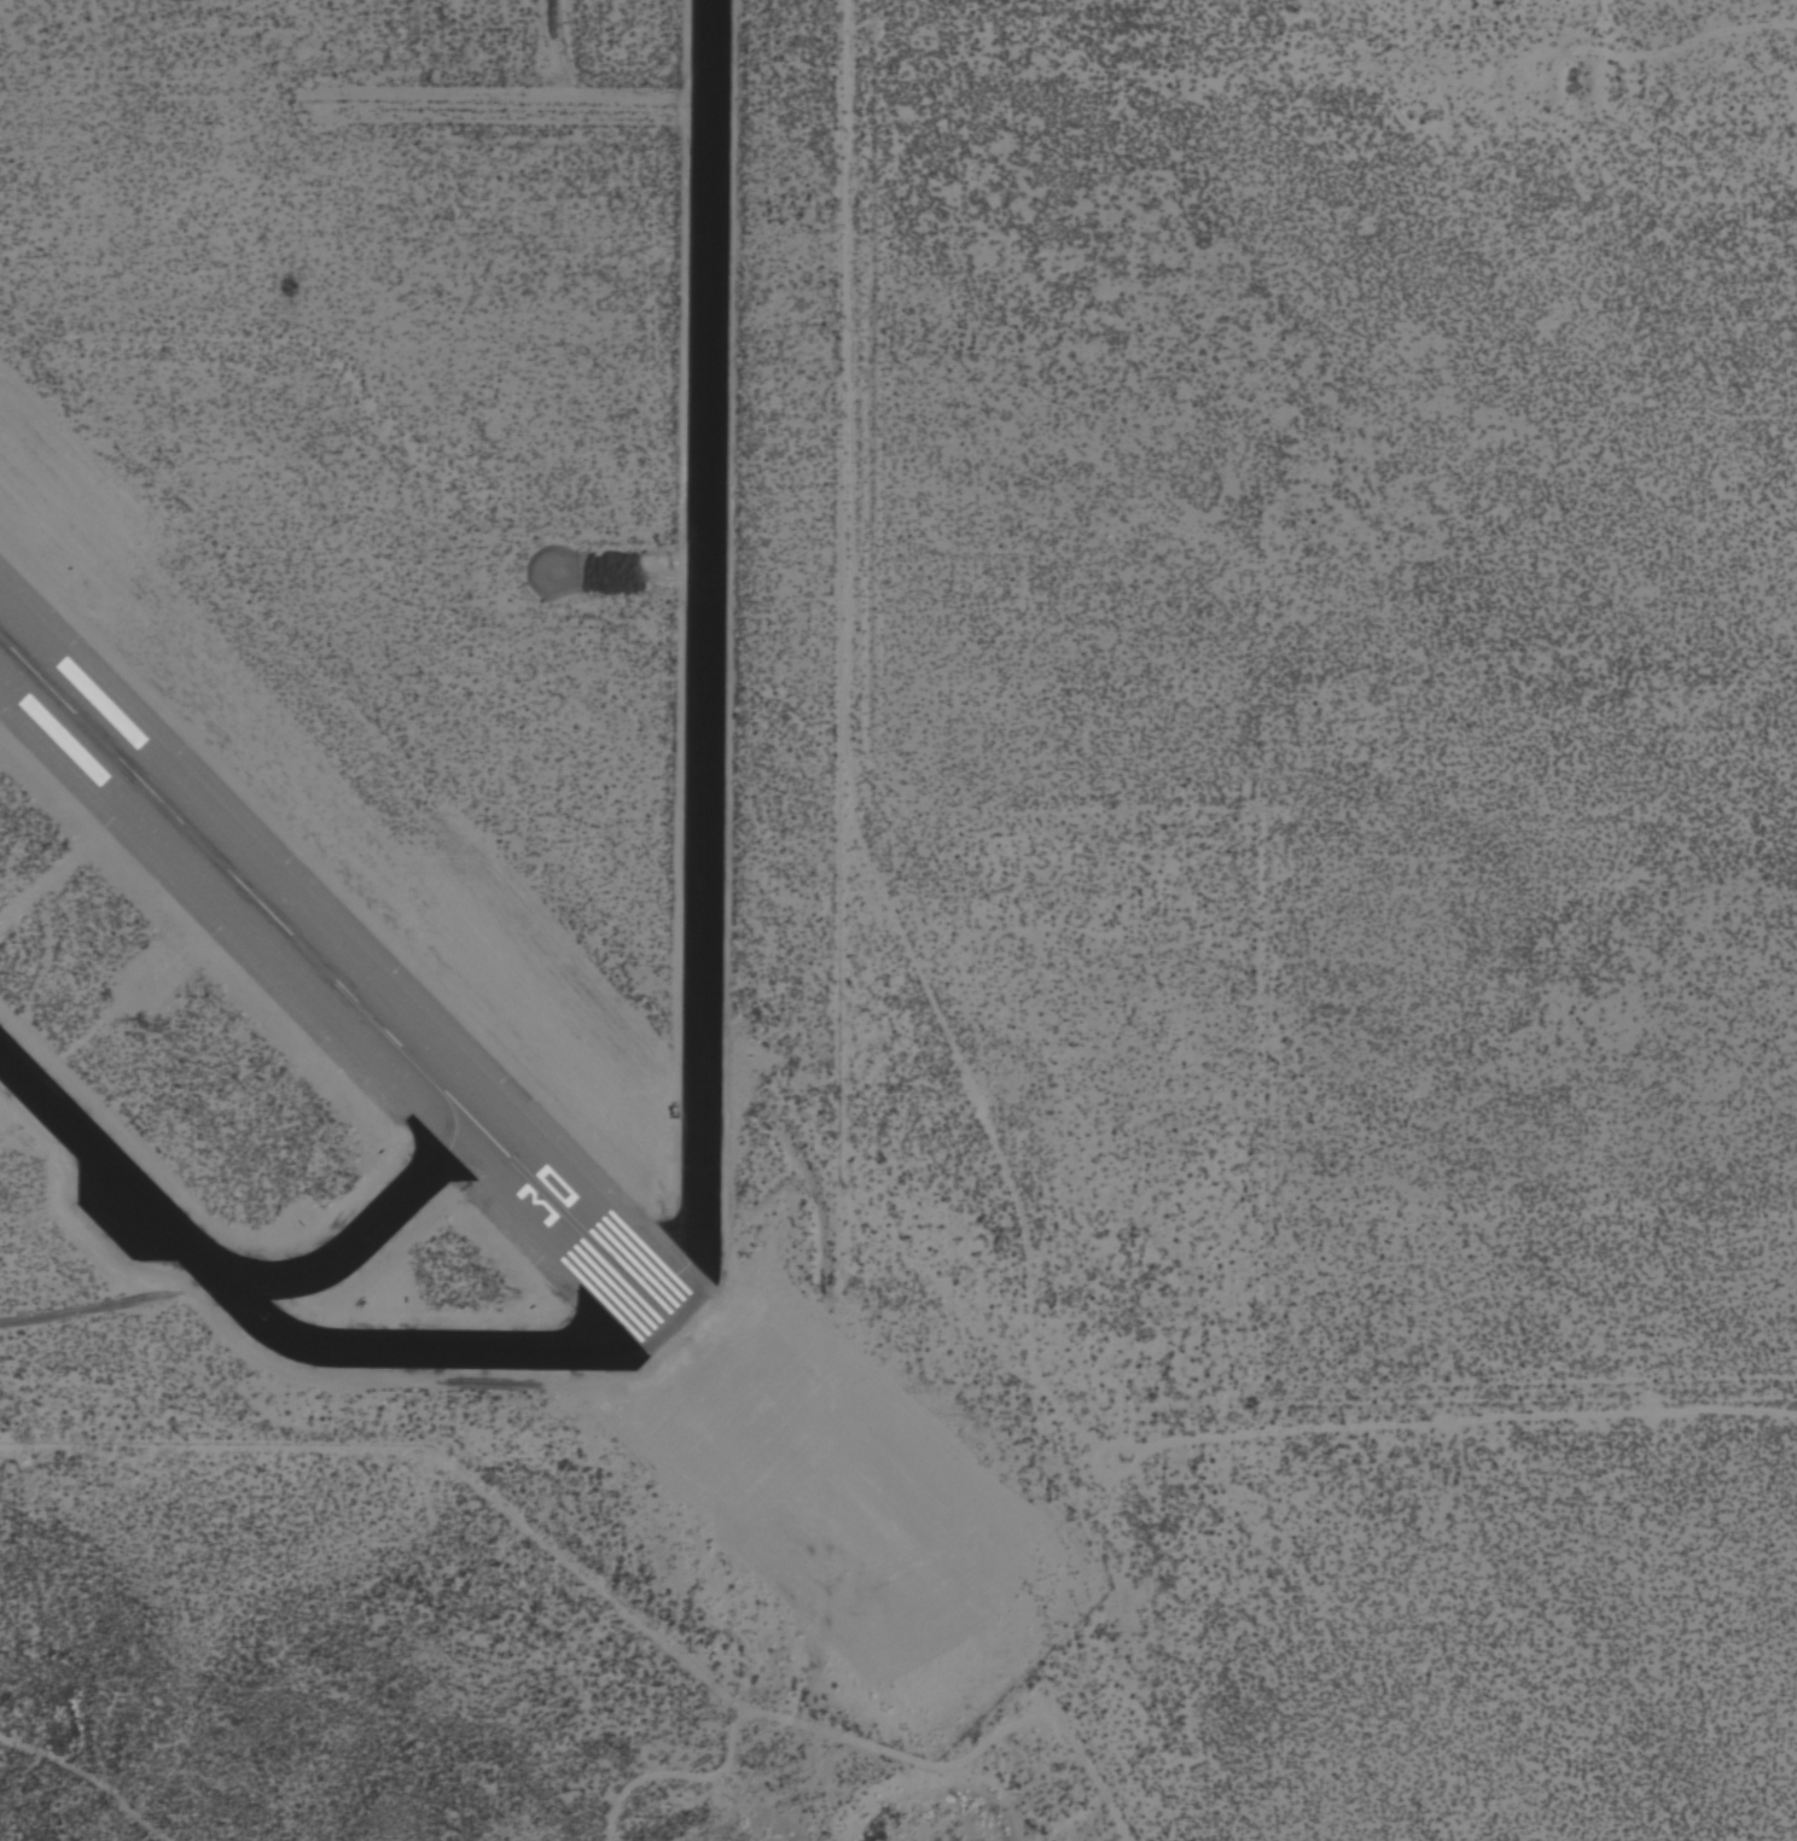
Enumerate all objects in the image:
airport: (477, 818)
airport runway: (342, 981)
airport taxiway: (699, 1037)
road: (872, 1744)

